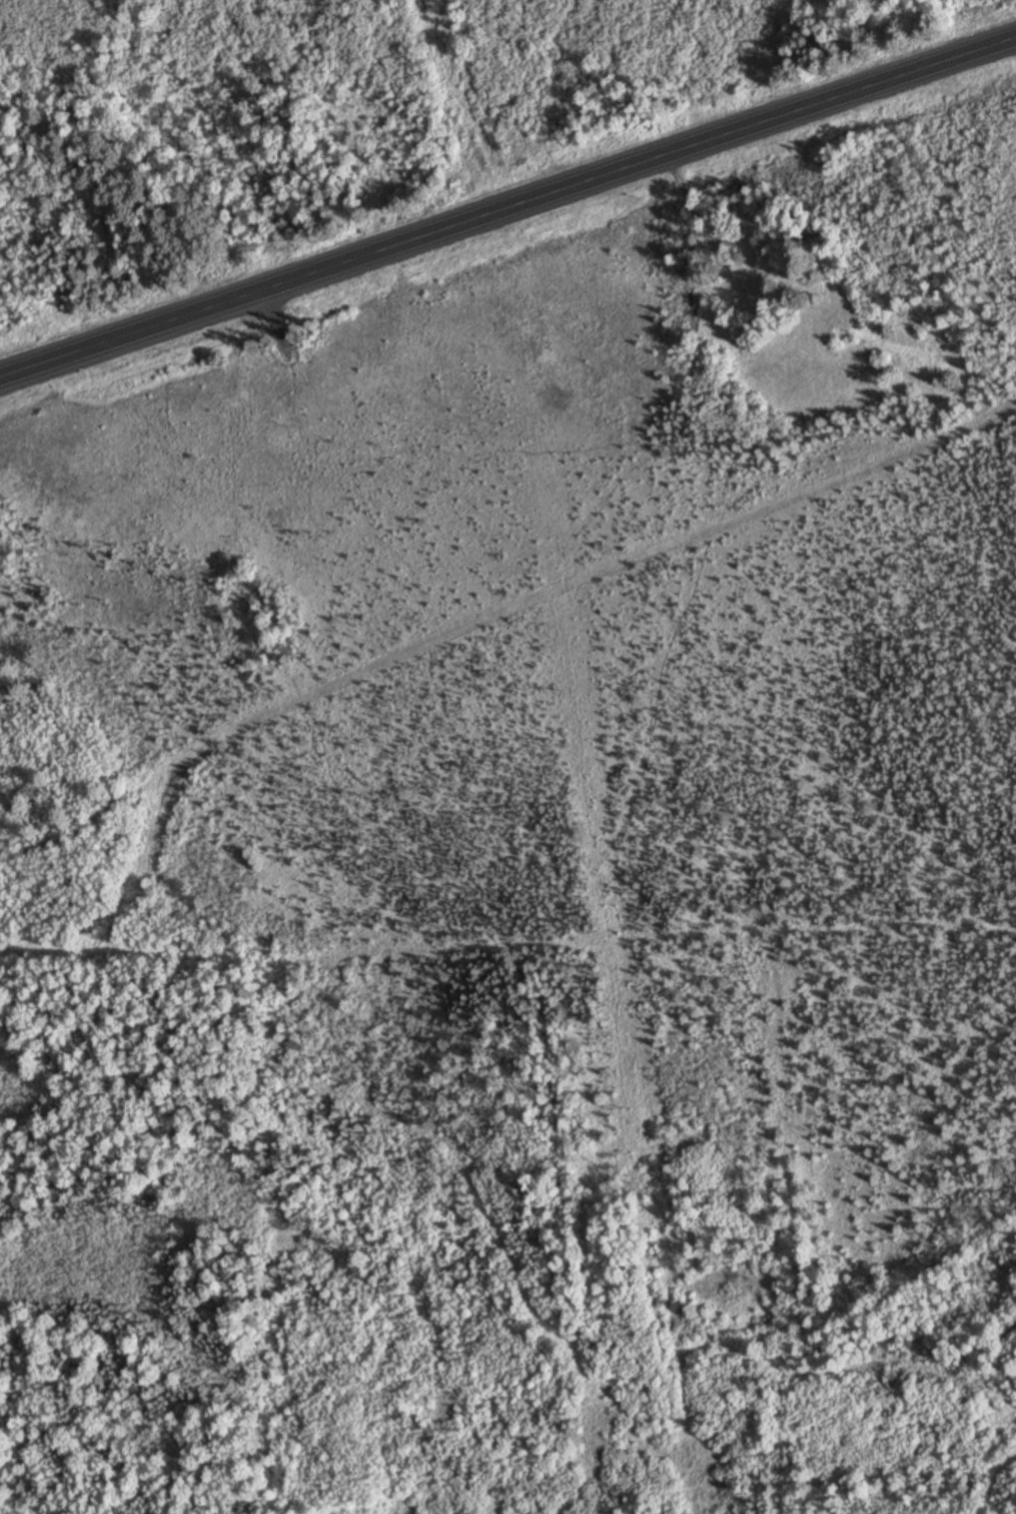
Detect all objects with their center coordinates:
road: (507, 207)

